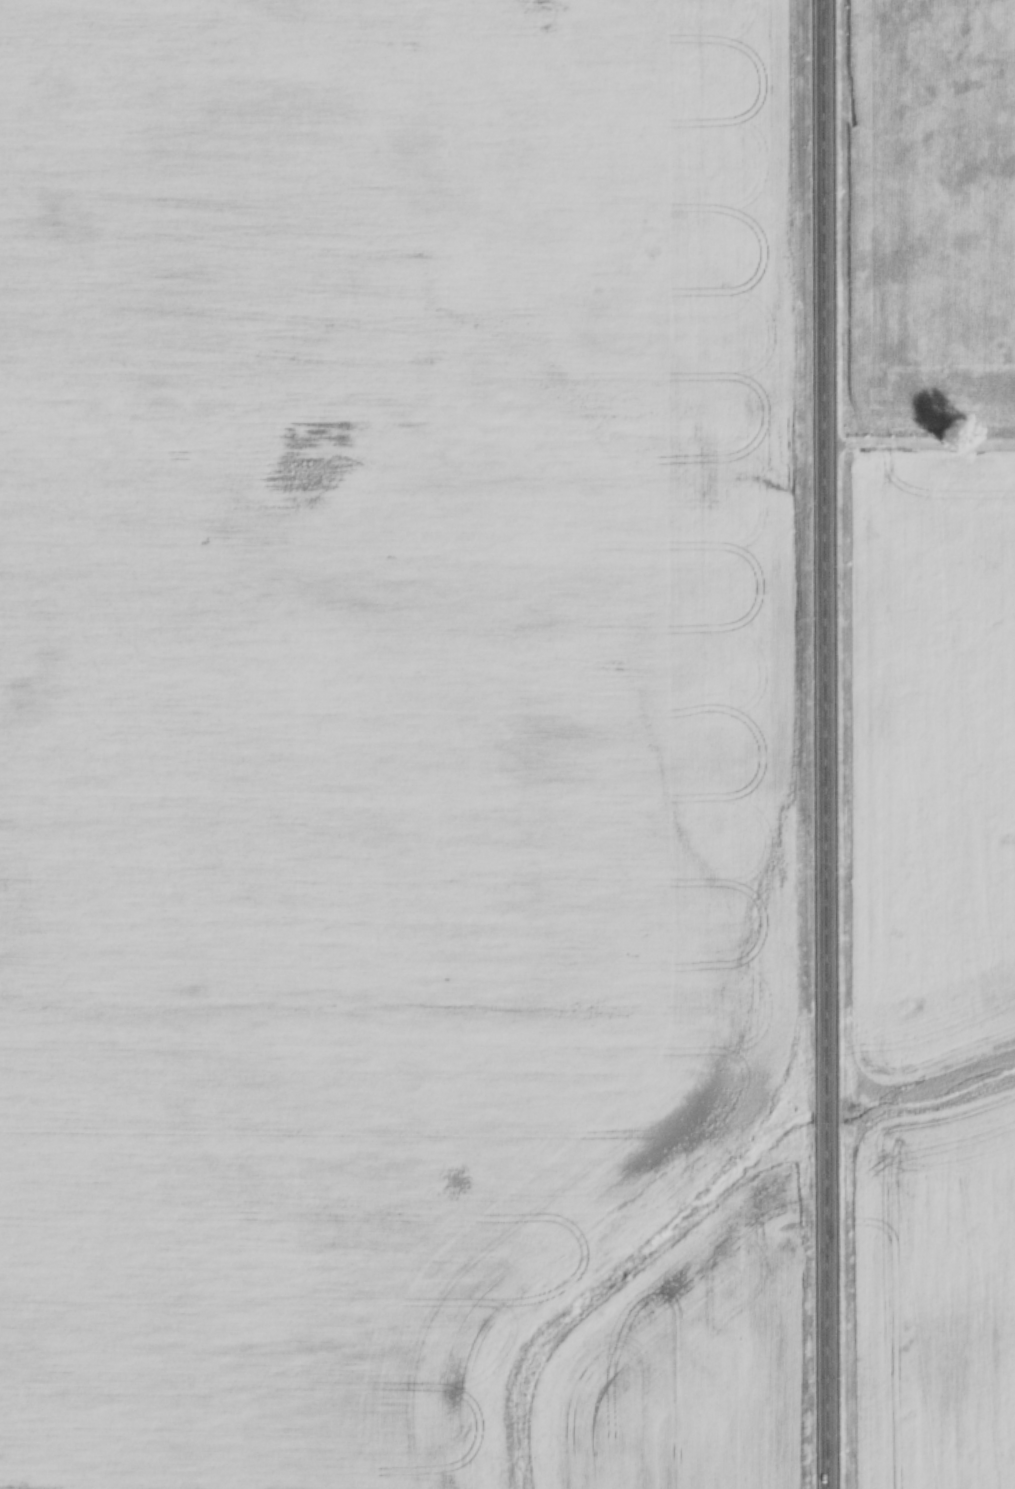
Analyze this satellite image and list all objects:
road: (830, 744)

